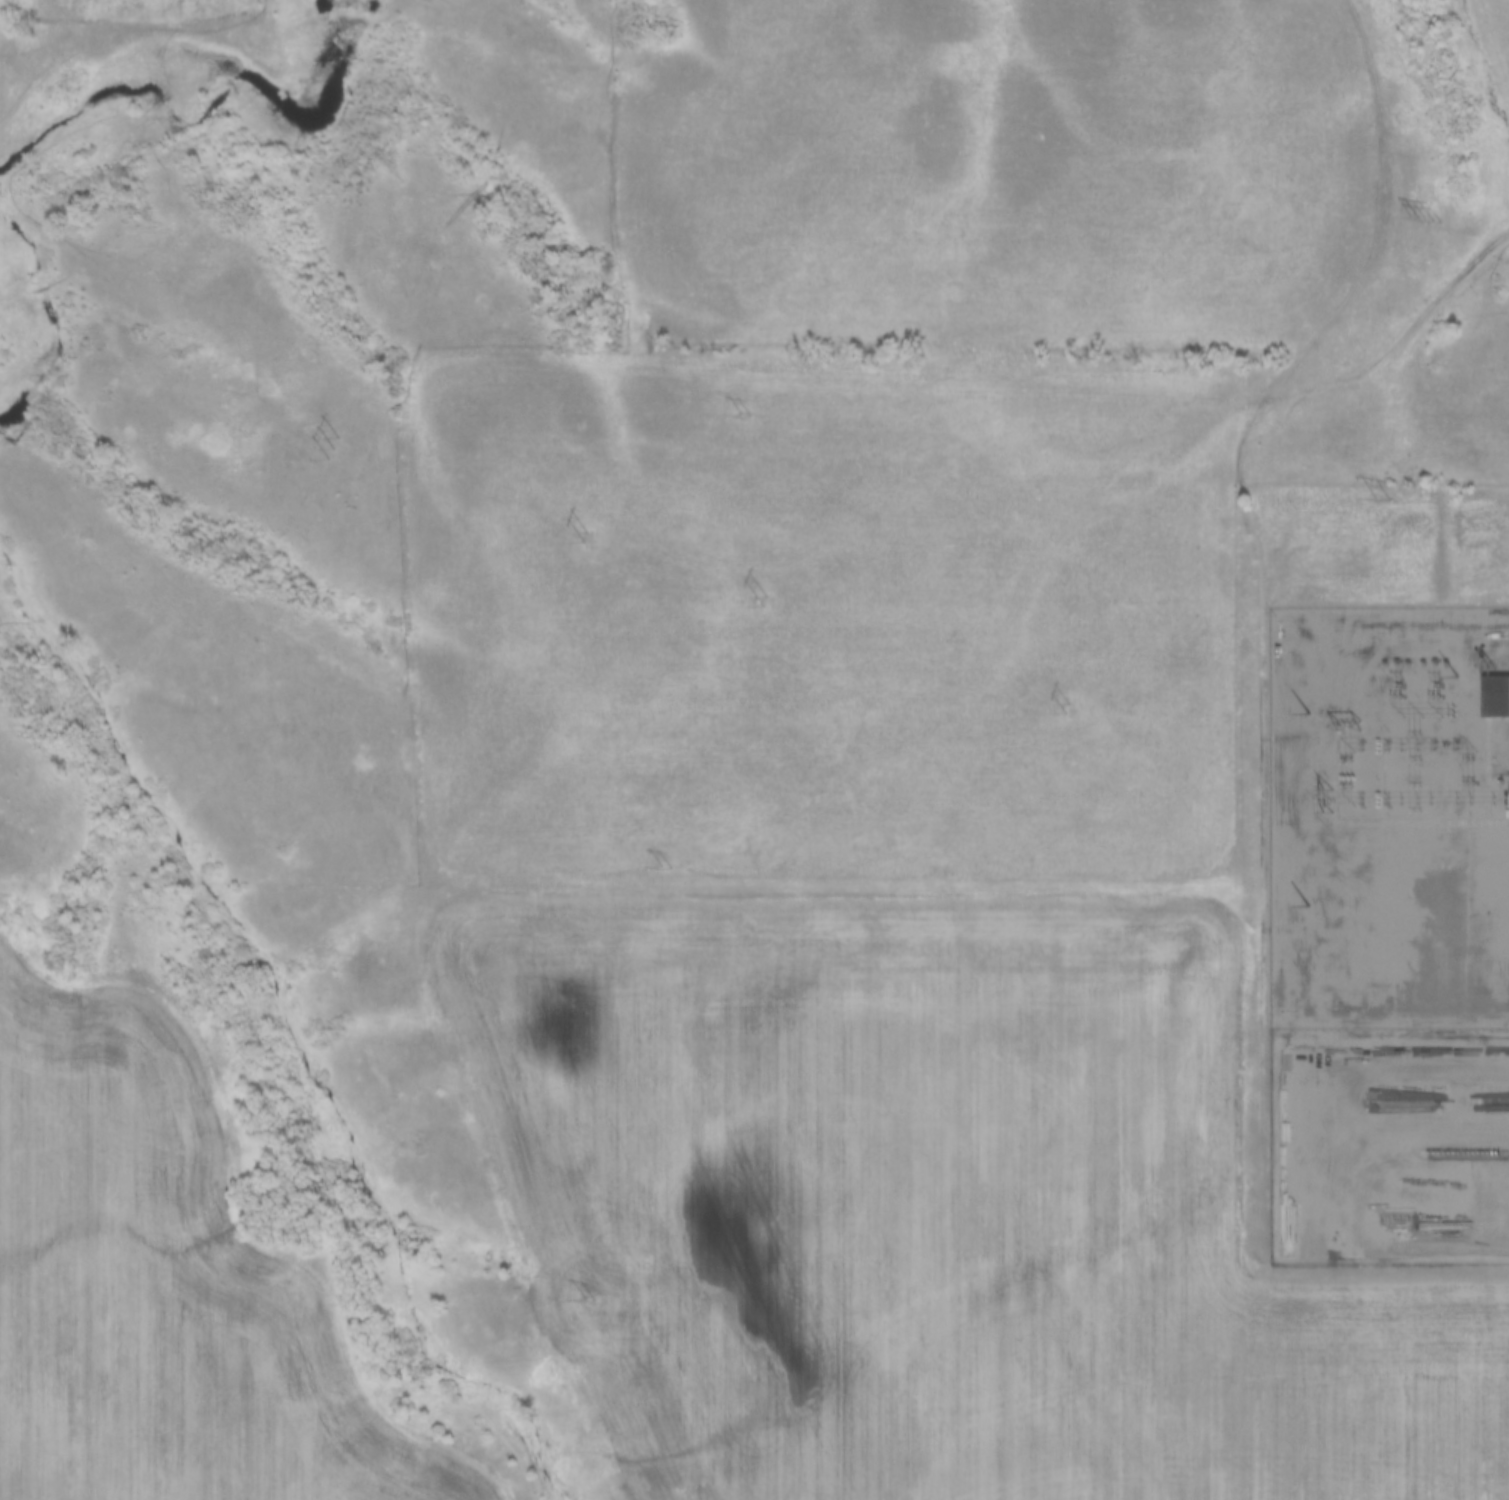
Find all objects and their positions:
road: (1392, 344)
road: (1505, 650)
building: (1494, 695)
power substation: (1390, 818)
road: (1424, 1133)
road: (1340, 1161)

